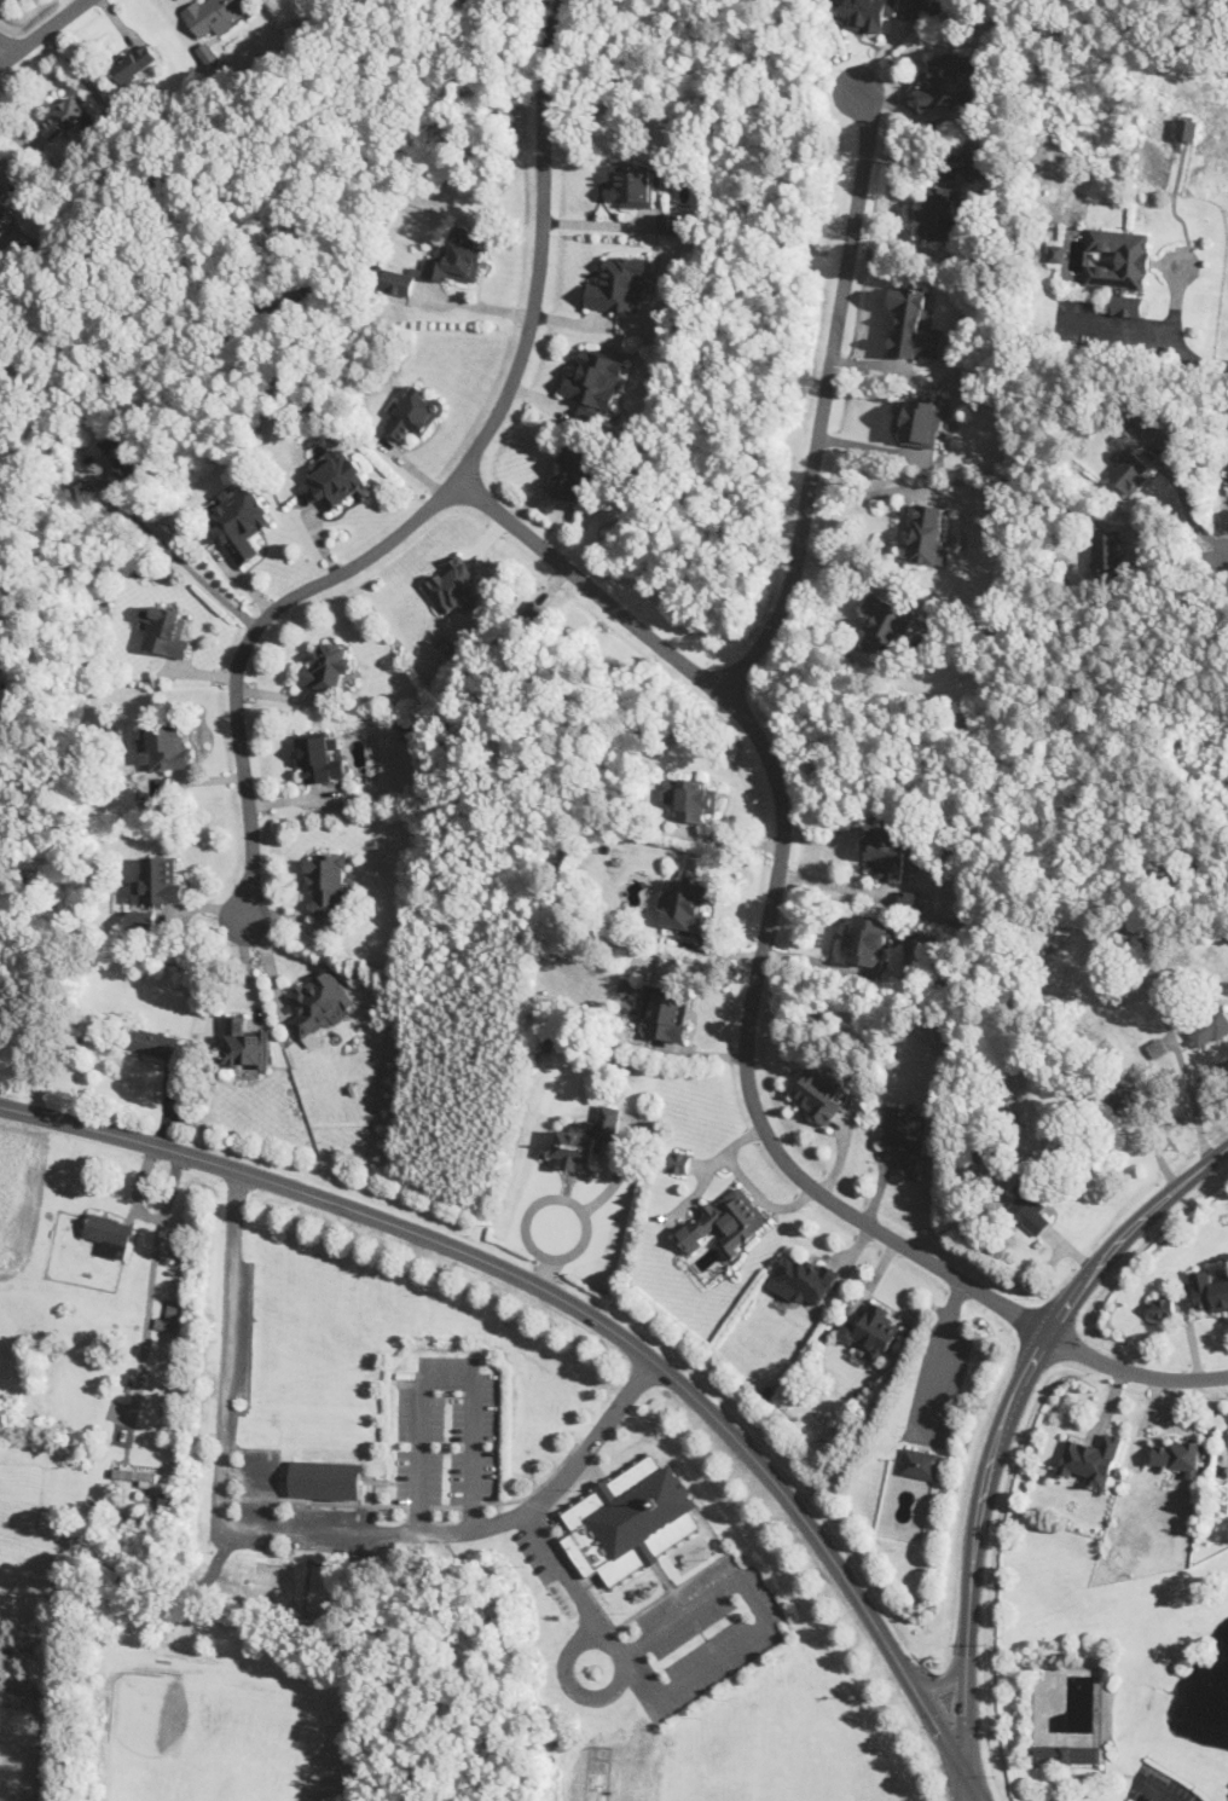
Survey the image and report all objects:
building: (911, 8)
building: (215, 13)
building: (868, 13)
road: (41, 30)
road: (5, 50)
building: (135, 63)
building: (950, 79)
building: (64, 117)
building: (1187, 127)
building: (972, 161)
building: (637, 184)
building: (2, 195)
building: (939, 212)
building: (672, 221)
road: (601, 224)
building: (1119, 257)
building: (441, 264)
building: (620, 283)
road: (474, 303)
building: (1128, 303)
building: (914, 324)
road: (1203, 359)
building: (595, 382)
road: (826, 395)
building: (416, 412)
building: (921, 422)
building: (1146, 424)
building: (120, 464)
building: (1130, 469)
building: (572, 471)
building: (335, 476)
road: (876, 493)
road: (440, 499)
road: (1186, 500)
building: (241, 521)
building: (927, 535)
building: (1107, 549)
road: (1227, 550)
road: (174, 555)
road: (852, 563)
building: (451, 583)
building: (887, 622)
building: (166, 630)
building: (330, 666)
building: (167, 746)
building: (319, 757)
building: (695, 797)
building: (887, 851)
building: (160, 879)
building: (328, 880)
building: (685, 903)
building: (141, 920)
building: (869, 942)
building: (319, 1004)
road: (751, 1004)
building: (666, 1013)
building: (1207, 1027)
building: (151, 1041)
building: (244, 1043)
building: (818, 1094)
building: (1110, 1096)
building: (906, 1134)
building: (587, 1136)
building: (678, 1160)
road: (574, 1192)
building: (1030, 1208)
building: (725, 1222)
building: (110, 1234)
road: (549, 1268)
building: (801, 1279)
building: (1210, 1290)
road: (147, 1295)
building: (1164, 1307)
road: (591, 1315)
building: (871, 1331)
road: (942, 1357)
road: (442, 1377)
road: (1006, 1418)
building: (1178, 1454)
building: (1090, 1459)
building: (919, 1464)
building: (137, 1475)
building: (326, 1478)
building: (631, 1521)
road: (302, 1530)
park: (273, 1581)
park: (323, 1588)
road: (695, 1670)
road: (943, 1679)
road: (577, 1687)
building: (1067, 1753)
traffic signals: (963, 1770)
road: (962, 1785)

